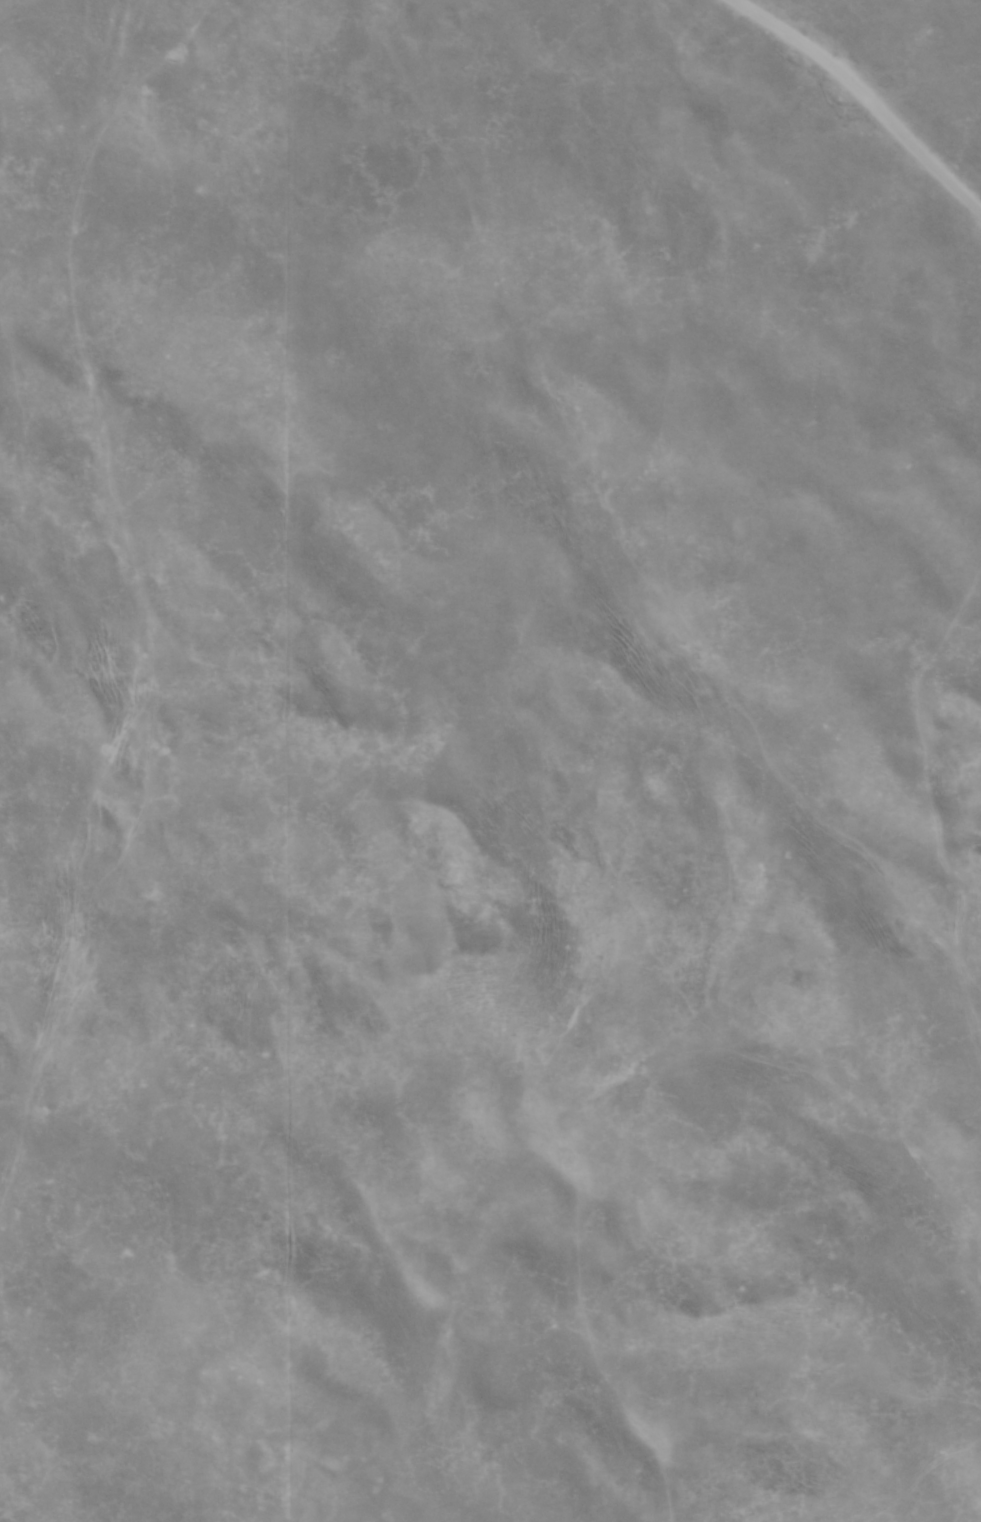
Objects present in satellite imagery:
road: (865, 96)

